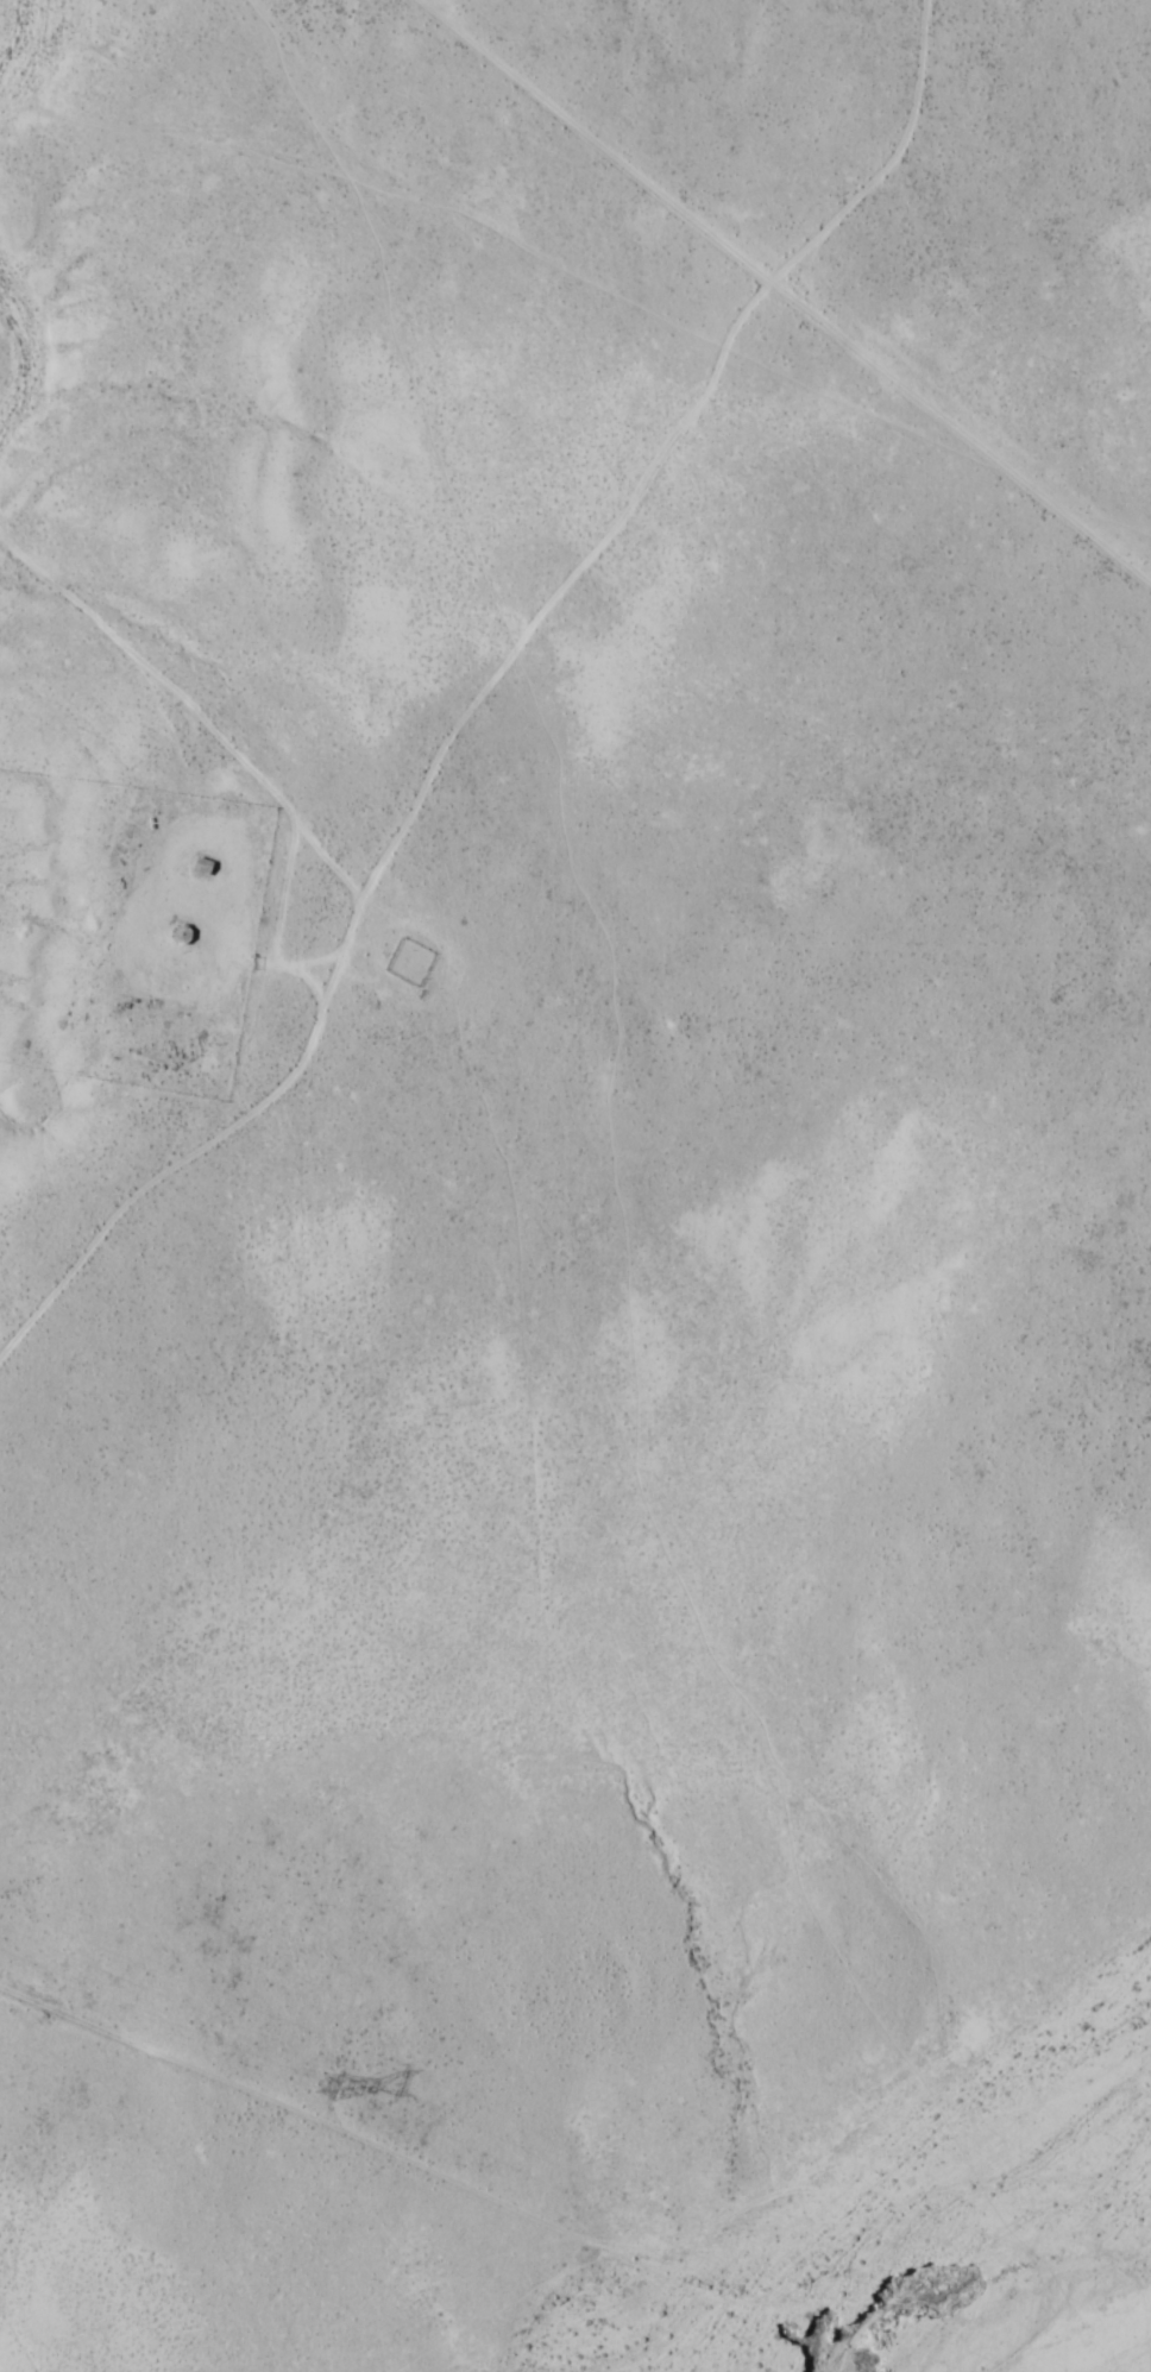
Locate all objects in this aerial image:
road: (922, 438)
road: (463, 684)
building: (203, 864)
road: (560, 1569)
power tower: (334, 2085)

